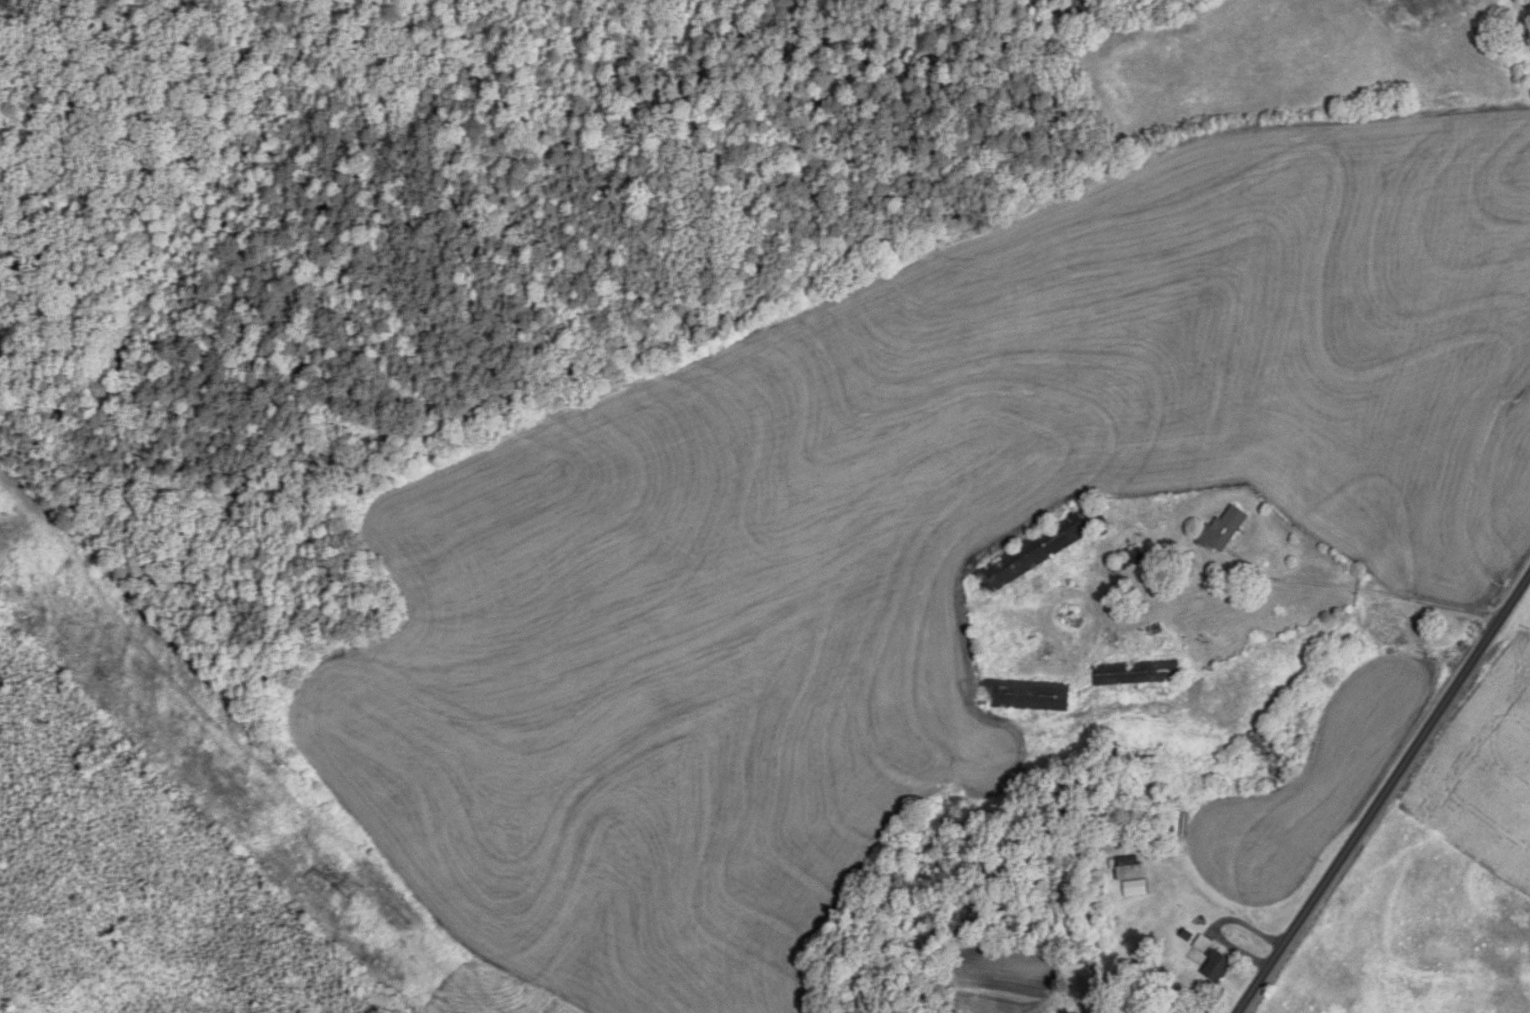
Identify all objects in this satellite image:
building: (1524, 77)
building: (1224, 530)
building: (1038, 551)
road: (1367, 592)
building: (1136, 674)
building: (1025, 696)
road: (1383, 795)
building: (1130, 870)
power tower: (360, 898)
building: (1213, 962)

